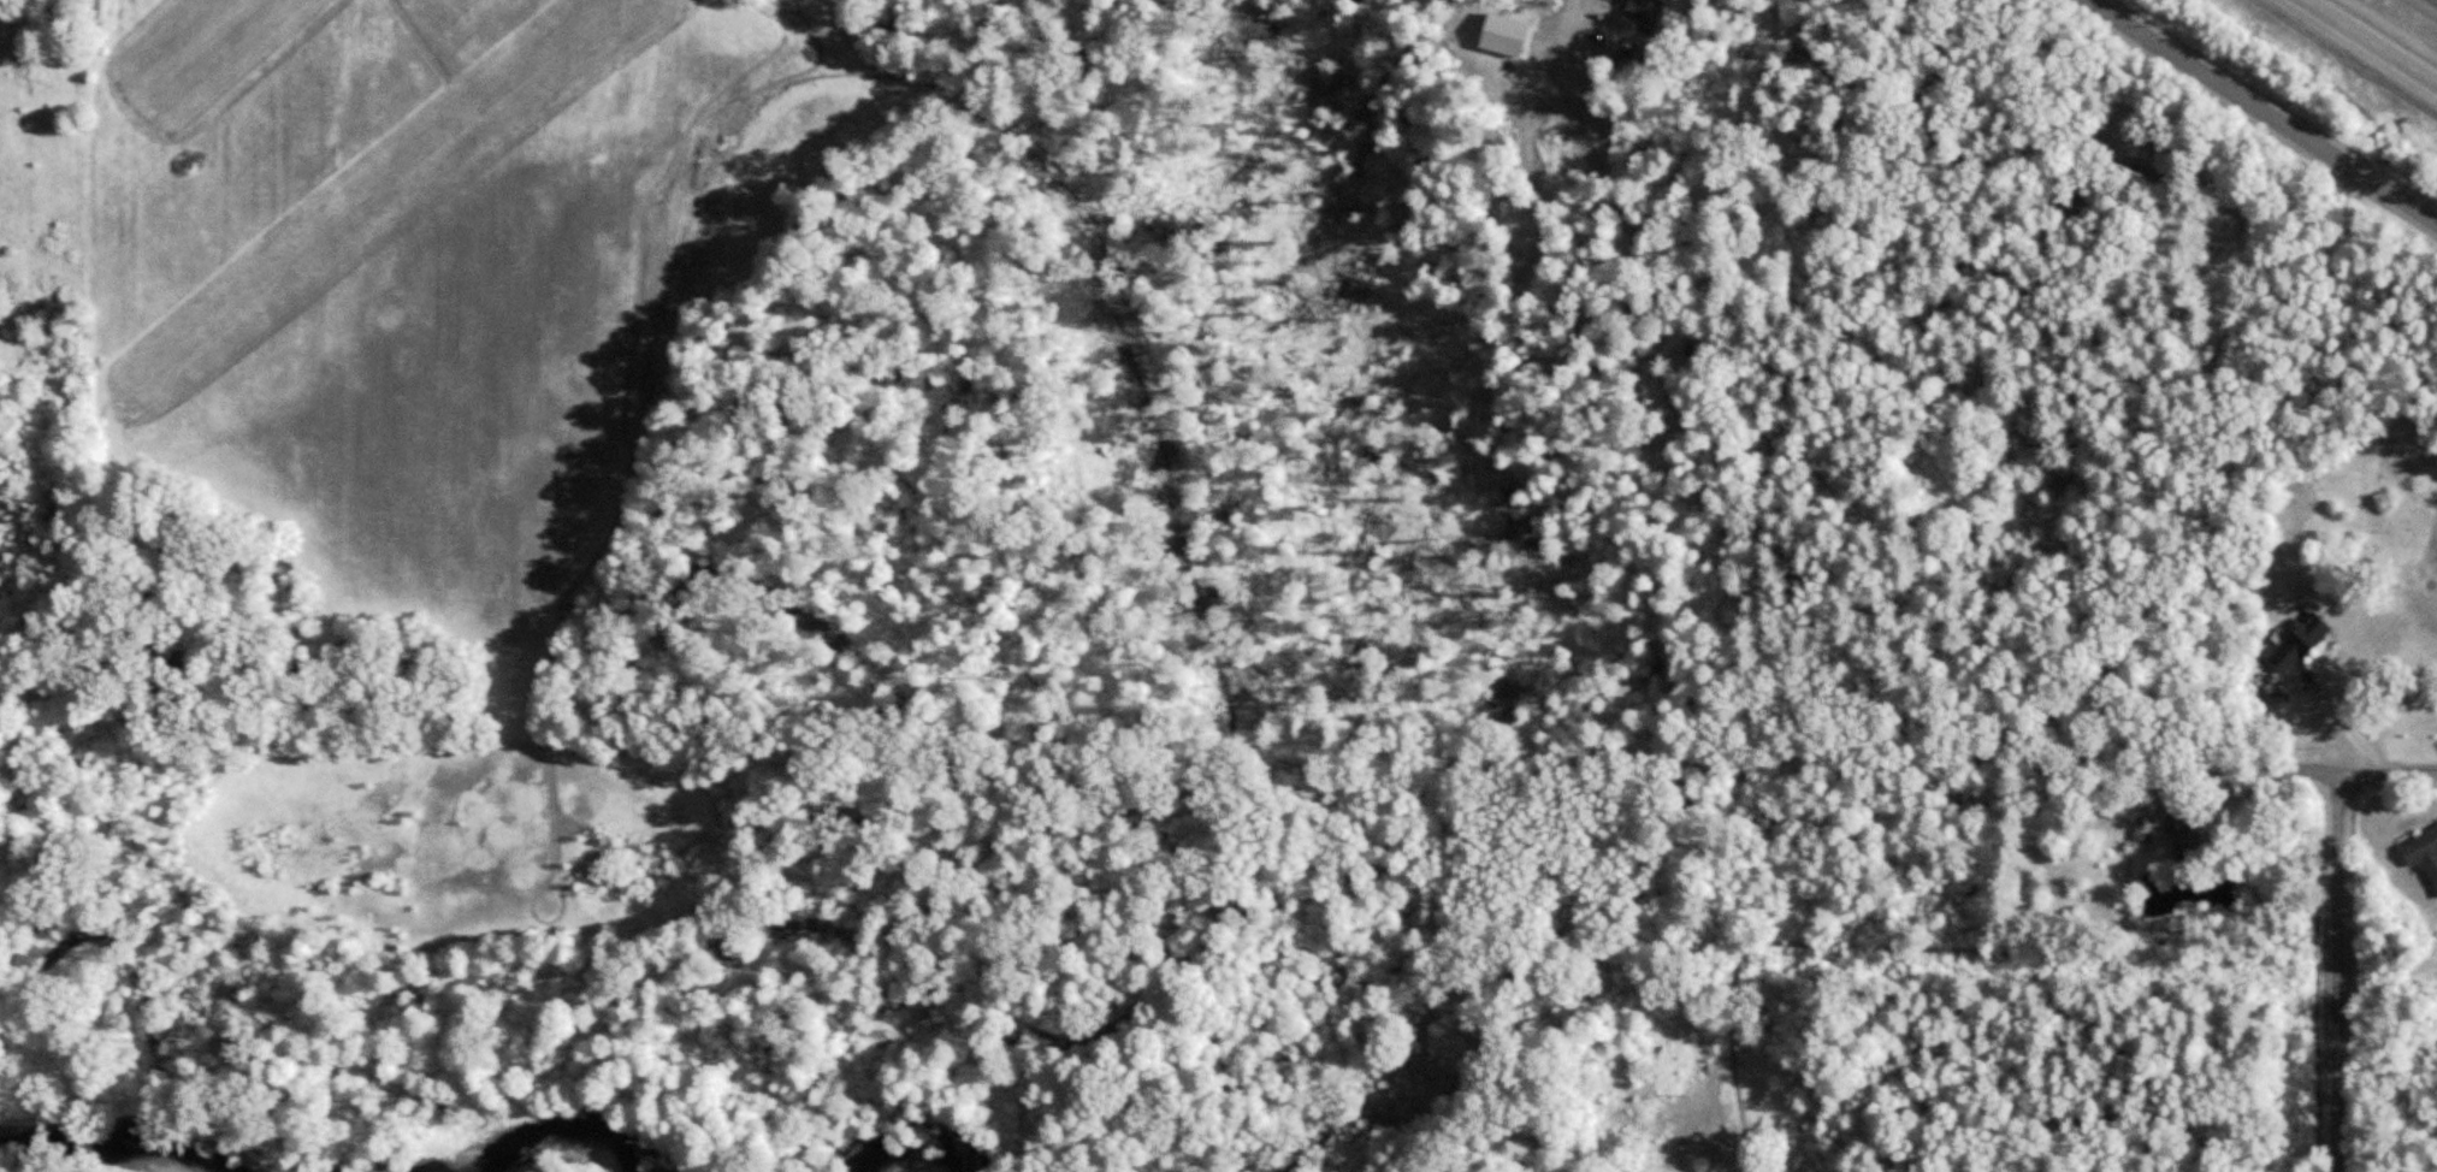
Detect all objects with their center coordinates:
building: (1646, 10)
road: (2370, 42)
road: (2128, 102)
road: (2262, 111)
building: (2141, 170)
building: (2296, 644)
road: (2389, 770)
building: (2181, 828)
building: (2423, 851)
road: (2340, 971)
river: (532, 1138)
river: (93, 1144)

